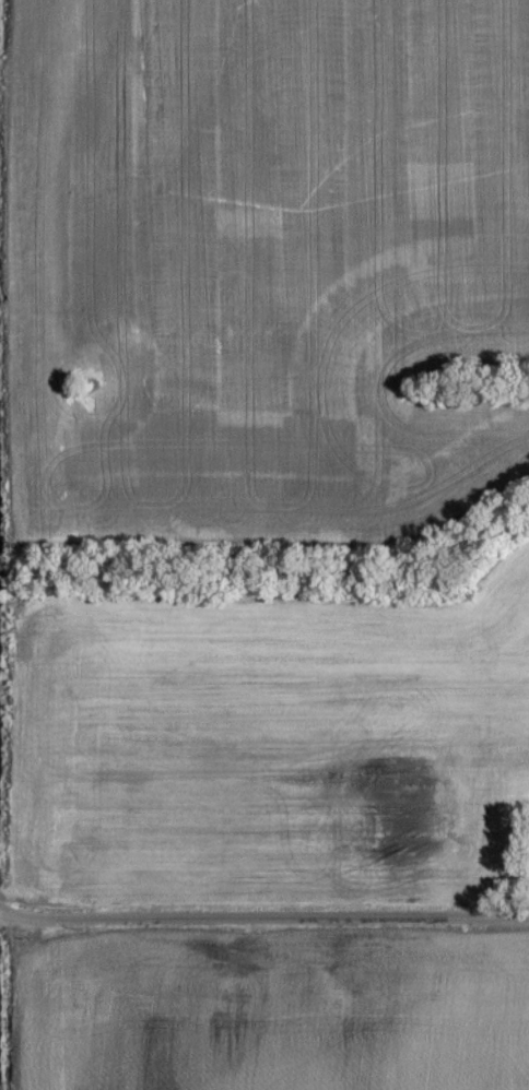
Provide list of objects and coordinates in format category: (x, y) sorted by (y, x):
road: (9, 920)
road: (272, 925)

